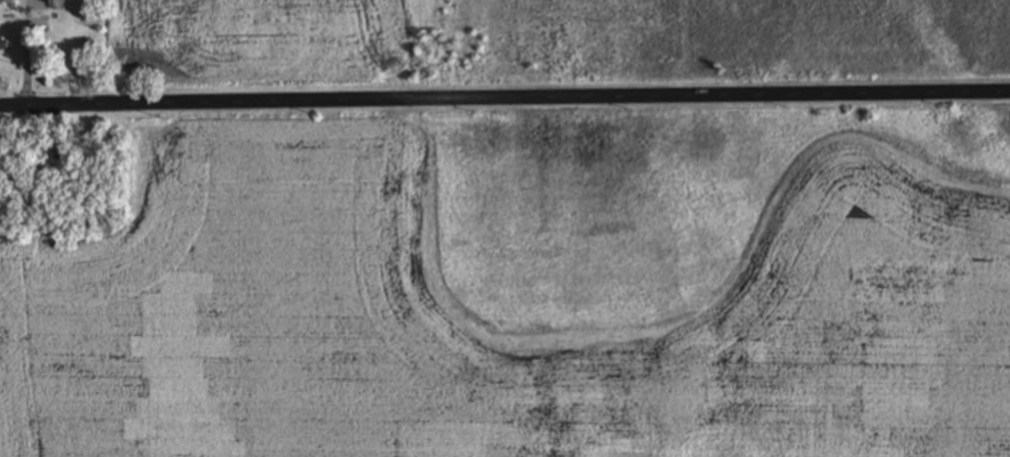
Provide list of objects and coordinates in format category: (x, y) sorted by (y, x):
building: (3, 45)
road: (28, 53)
road: (505, 102)

